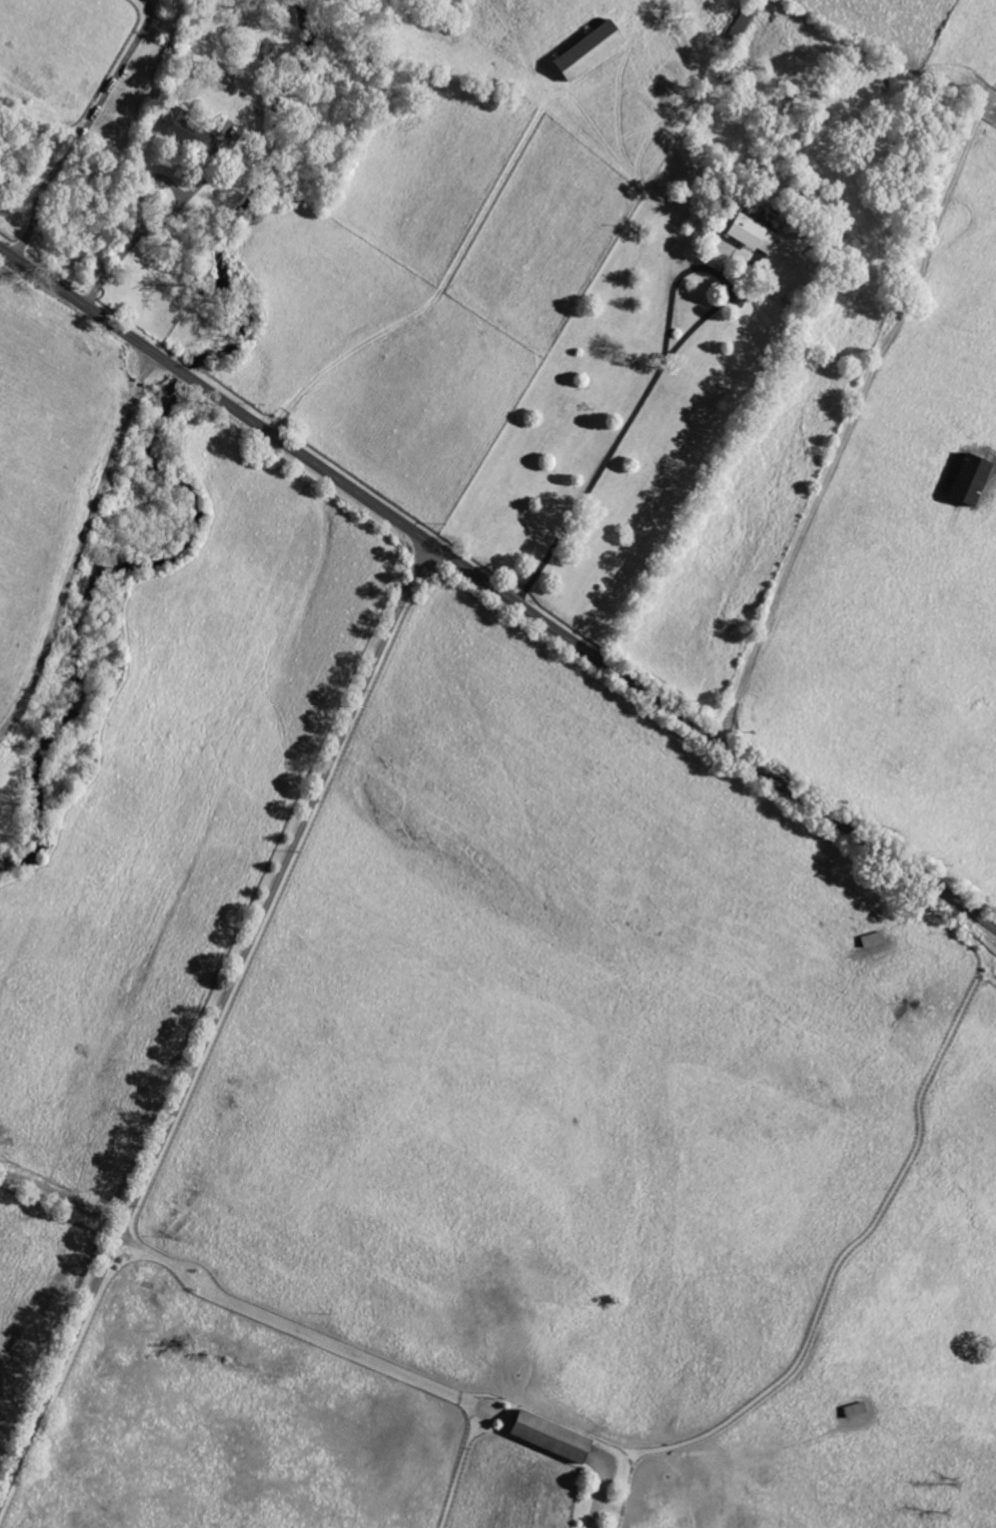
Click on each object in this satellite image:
building: (580, 53)
road: (77, 127)
building: (183, 131)
road: (506, 173)
road: (639, 184)
road: (150, 231)
building: (745, 232)
road: (655, 375)
road: (854, 410)
building: (963, 479)
road: (80, 546)
road: (497, 590)
road: (213, 1026)
building: (542, 1437)
road: (598, 1498)

